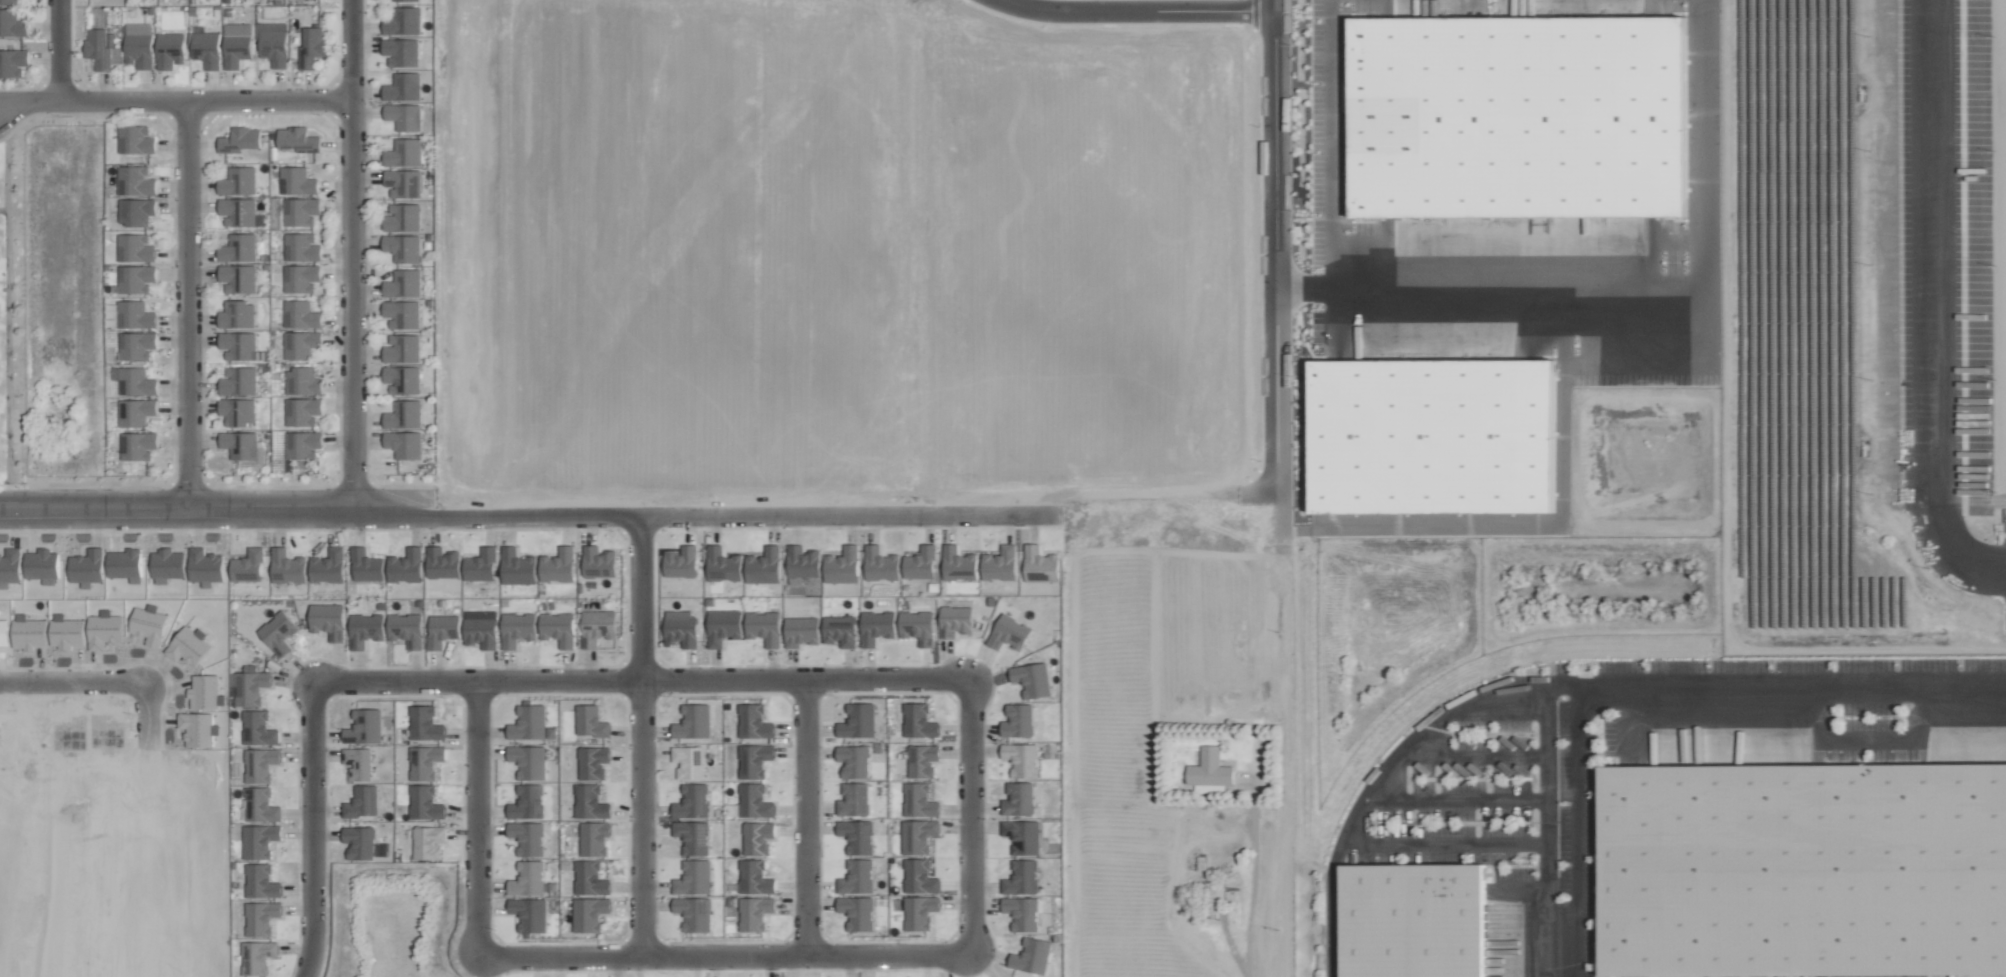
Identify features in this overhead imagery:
building: (401, 0)
road: (1128, 10)
building: (402, 21)
building: (11, 23)
building: (138, 30)
building: (271, 43)
building: (310, 45)
building: (100, 48)
building: (204, 48)
building: (235, 48)
building: (168, 50)
road: (57, 51)
building: (400, 51)
building: (402, 86)
road: (174, 101)
building: (1519, 115)
building: (403, 116)
building: (134, 139)
building: (296, 139)
building: (239, 140)
road: (1323, 146)
building: (403, 152)
building: (290, 173)
building: (134, 180)
building: (237, 181)
building: (403, 183)
building: (135, 211)
building: (236, 211)
building: (299, 211)
building: (402, 217)
building: (300, 247)
building: (402, 247)
building: (135, 248)
building: (237, 248)
road: (1266, 249)
road: (351, 255)
building: (237, 277)
building: (135, 278)
building: (300, 278)
building: (403, 283)
road: (1620, 289)
road: (187, 301)
road: (1936, 302)
building: (401, 313)
building: (135, 314)
building: (236, 314)
building: (299, 314)
building: (299, 344)
building: (136, 345)
building: (237, 345)
building: (402, 349)
building: (401, 379)
building: (135, 381)
building: (237, 381)
building: (301, 381)
building: (134, 411)
building: (236, 411)
building: (301, 411)
building: (403, 414)
building: (1435, 435)
building: (301, 444)
building: (402, 444)
building: (136, 446)
building: (242, 446)
road: (527, 511)
building: (1039, 560)
building: (801, 561)
building: (598, 562)
building: (681, 562)
building: (756, 562)
building: (441, 563)
building: (919, 563)
building: (999, 563)
building: (124, 564)
building: (879, 564)
building: (957, 564)
building: (41, 565)
building: (166, 565)
building: (247, 565)
building: (557, 565)
building: (724, 565)
building: (841, 565)
building: (9, 566)
building: (204, 566)
building: (286, 566)
building: (327, 566)
building: (404, 566)
building: (479, 566)
building: (85, 567)
building: (516, 567)
building: (367, 569)
building: (327, 620)
building: (954, 621)
building: (683, 626)
building: (722, 626)
building: (597, 627)
building: (763, 627)
building: (916, 627)
building: (557, 628)
building: (873, 628)
building: (364, 629)
building: (405, 629)
building: (516, 629)
building: (441, 630)
building: (839, 630)
building: (801, 631)
building: (277, 632)
building: (480, 632)
building: (1008, 633)
road: (642, 677)
road: (61, 679)
building: (1031, 679)
road: (1628, 682)
building: (248, 685)
building: (857, 721)
building: (918, 721)
building: (1017, 721)
building: (589, 722)
building: (692, 722)
building: (753, 722)
building: (528, 723)
building: (424, 724)
building: (363, 727)
building: (258, 728)
road: (642, 733)
road: (1469, 753)
building: (1021, 759)
building: (921, 760)
building: (528, 761)
building: (853, 761)
building: (424, 762)
building: (592, 762)
building: (687, 762)
building: (356, 763)
building: (259, 764)
building: (752, 767)
building: (1209, 769)
road: (1376, 781)
building: (1018, 799)
road: (1456, 799)
building: (853, 800)
building: (918, 800)
building: (692, 801)
building: (754, 801)
building: (361, 802)
building: (527, 802)
building: (589, 802)
building: (424, 803)
building: (260, 805)
road: (1576, 810)
road: (806, 815)
road: (973, 815)
road: (478, 818)
road: (313, 829)
building: (856, 836)
building: (917, 836)
building: (527, 837)
building: (692, 837)
building: (593, 838)
building: (757, 838)
building: (1026, 838)
building: (258, 841)
road: (1445, 841)
building: (359, 842)
building: (428, 842)
building: (1803, 870)
building: (857, 877)
building: (919, 877)
building: (693, 878)
building: (754, 878)
building: (1021, 878)
building: (527, 879)
building: (589, 879)
building: (260, 882)
road: (1233, 889)
building: (919, 912)
building: (693, 913)
building: (754, 913)
building: (857, 913)
building: (1021, 913)
building: (528, 914)
building: (588, 914)
building: (260, 918)
road: (727, 954)
building: (1031, 956)
building: (259, 957)

